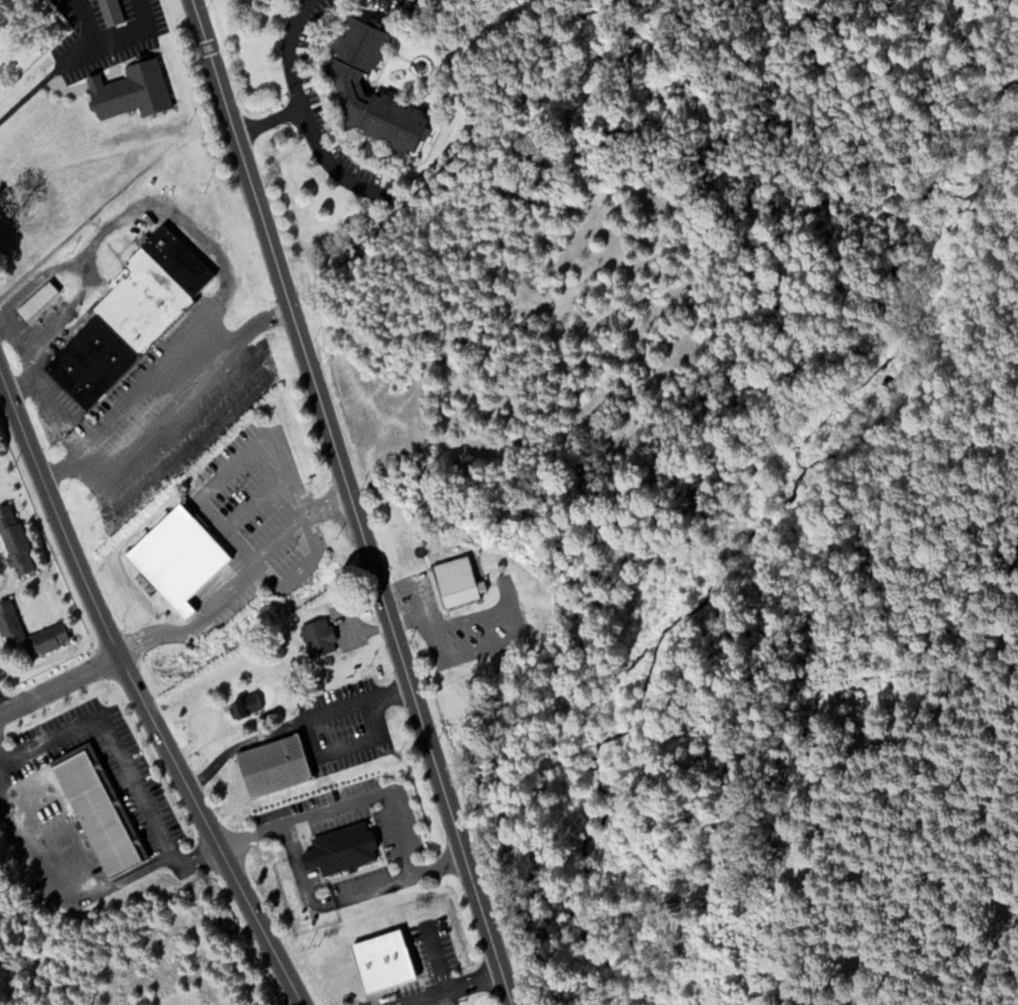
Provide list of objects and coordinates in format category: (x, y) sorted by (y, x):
building: (110, 12)
road: (288, 52)
building: (347, 83)
road: (266, 123)
road: (324, 159)
building: (35, 301)
building: (119, 329)
road: (1, 384)
road: (353, 502)
building: (14, 541)
building: (176, 556)
building: (455, 580)
building: (10, 627)
building: (317, 637)
building: (463, 646)
road: (59, 684)
road: (140, 696)
building: (245, 704)
road: (2, 706)
building: (272, 764)
road: (364, 795)
building: (97, 808)
road: (290, 839)
building: (341, 848)
road: (378, 885)
road: (305, 888)
road: (436, 955)
building: (382, 959)
road: (445, 988)

